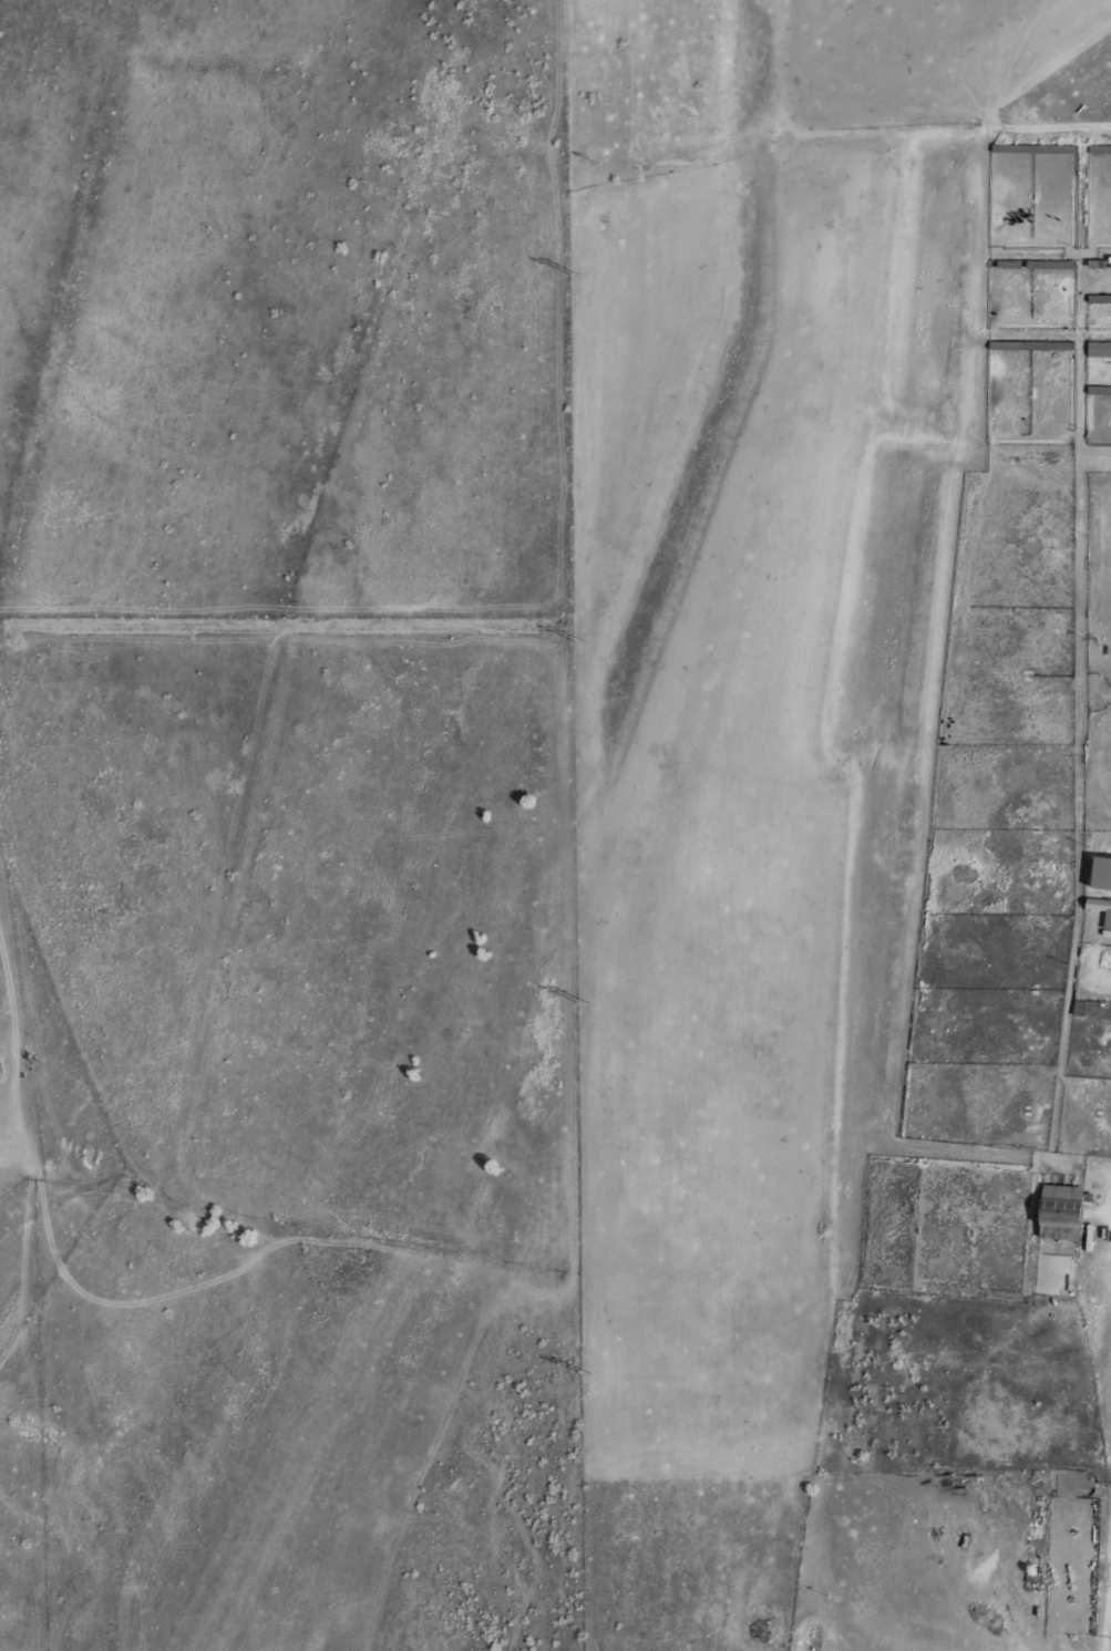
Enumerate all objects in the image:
road: (1053, 131)
building: (1033, 147)
building: (1099, 148)
building: (1110, 258)
building: (1097, 262)
building: (1009, 264)
building: (1050, 264)
power tower: (574, 274)
building: (1099, 297)
building: (1031, 344)
building: (1099, 348)
building: (1099, 389)
road: (284, 622)
power tower: (577, 641)
building: (1102, 871)
building: (1101, 908)
building: (1107, 931)
road: (223, 945)
power tower: (583, 1003)
building: (1078, 1007)
building: (1088, 1197)
building: (1061, 1210)
building: (1089, 1236)
road: (23, 1249)
road: (240, 1262)
power tower: (586, 1374)
road: (1108, 1576)
road: (998, 1639)
road: (1104, 1641)

